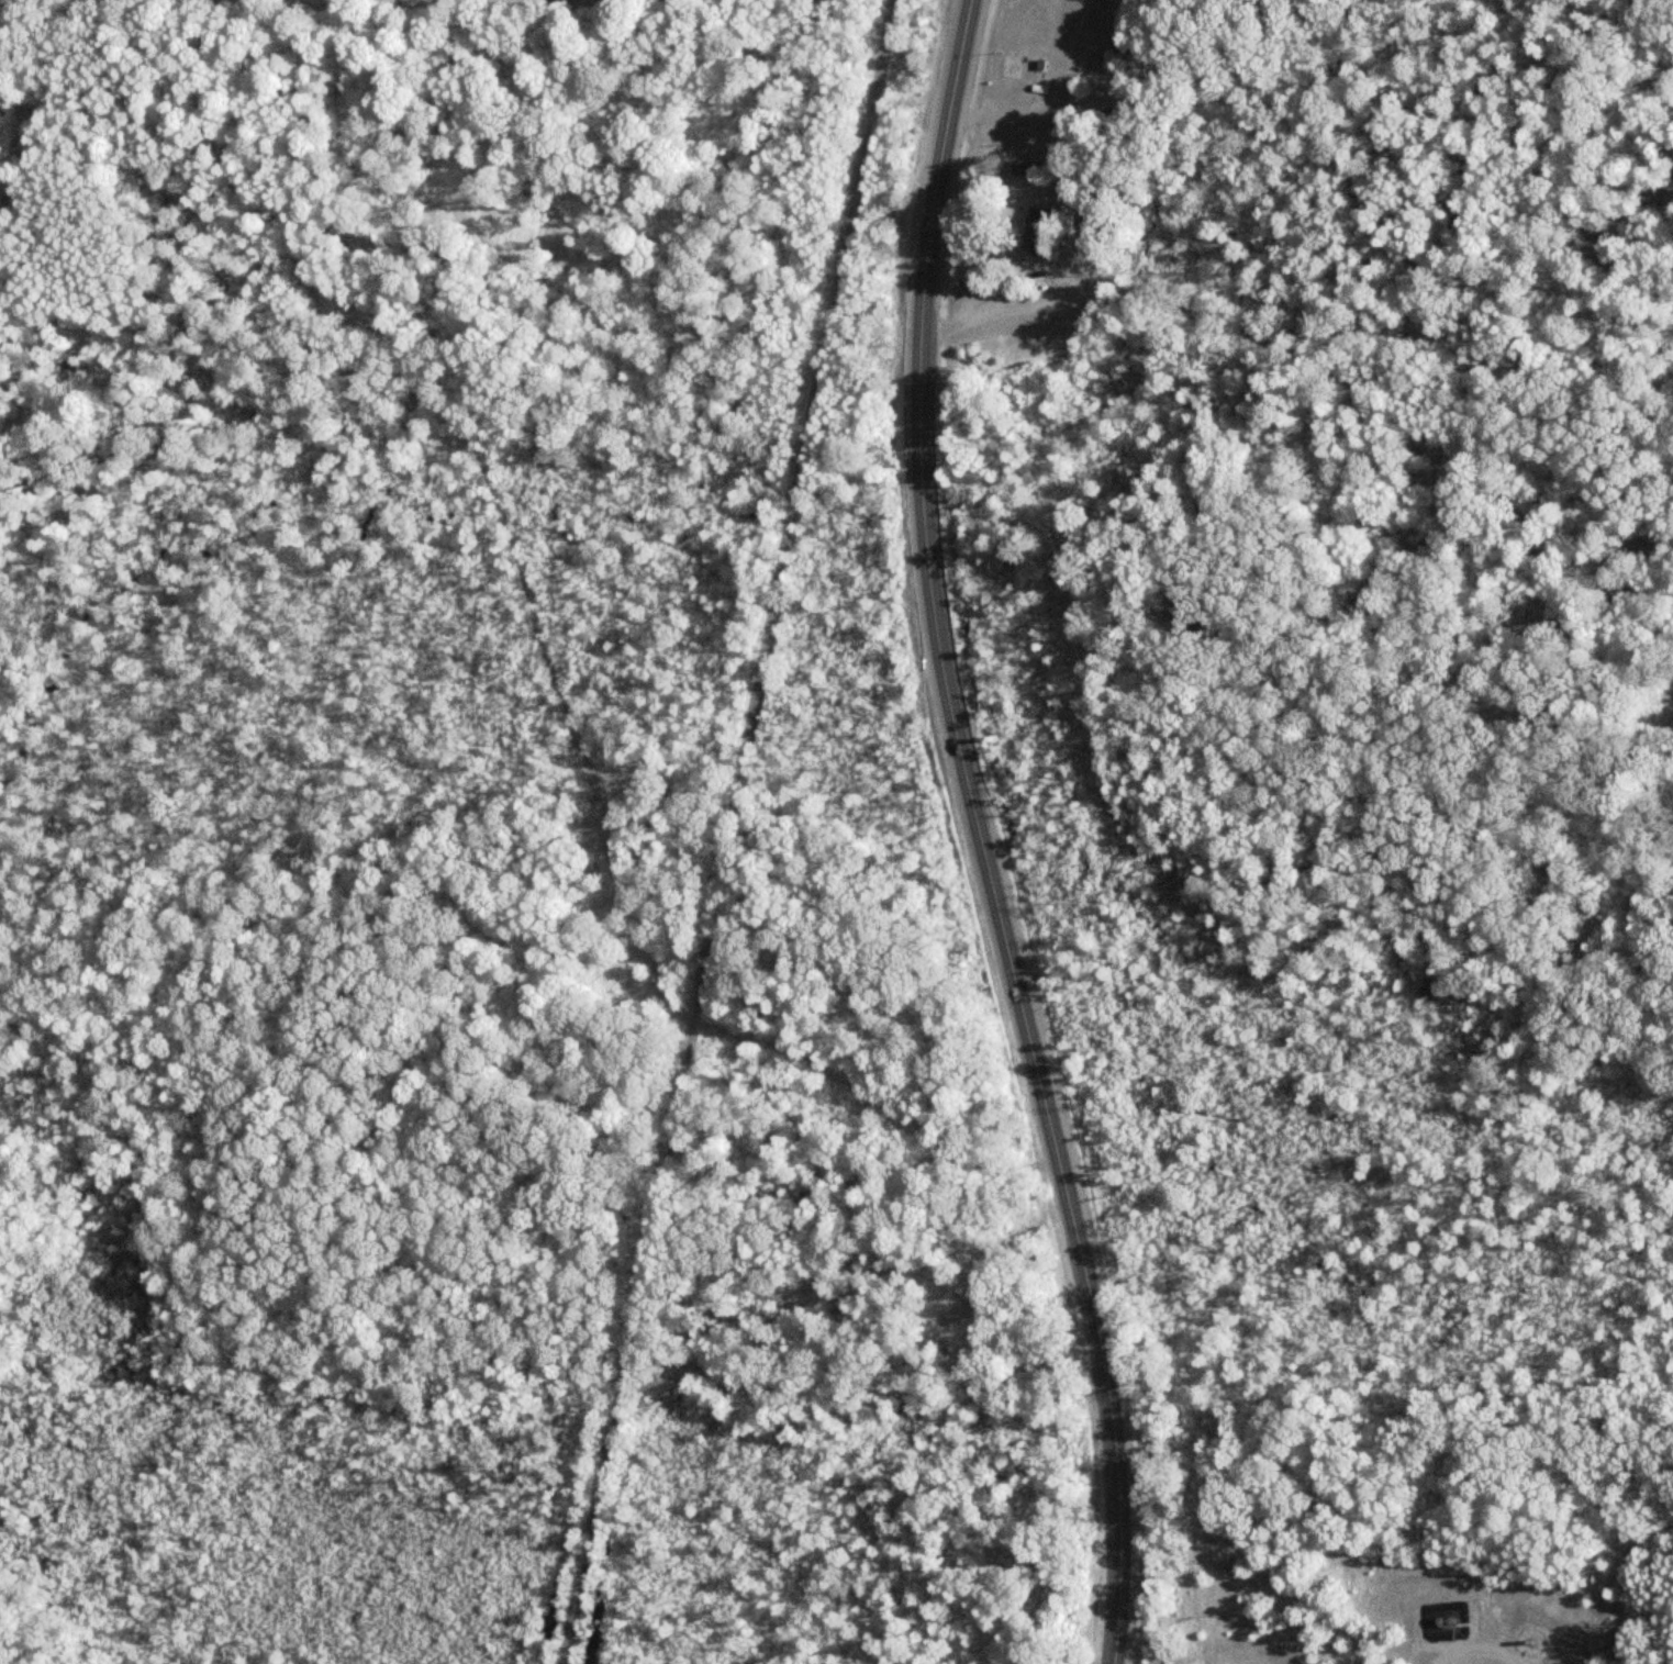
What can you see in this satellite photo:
building: (1019, 68)
road: (1042, 98)
building: (1034, 221)
road: (1039, 276)
road: (1079, 288)
road: (1315, 370)
road: (542, 684)
road: (718, 830)
road: (973, 835)
building: (1442, 1620)

